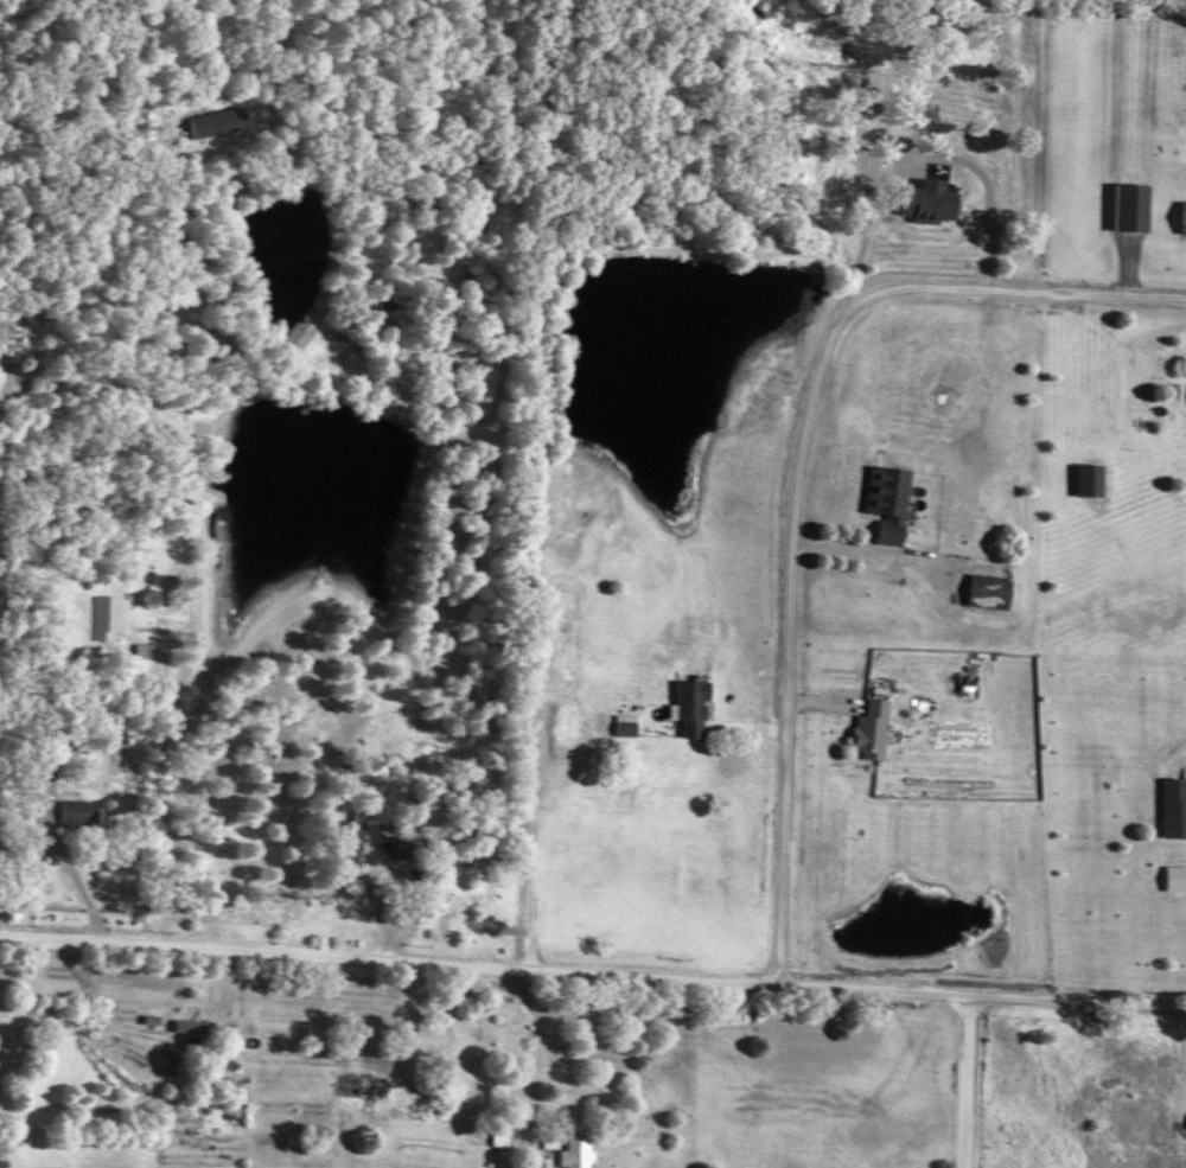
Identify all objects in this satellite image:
building: (1181, 83)
building: (213, 122)
building: (925, 202)
building: (1129, 206)
road: (799, 471)
building: (881, 502)
building: (983, 591)
building: (104, 617)
building: (683, 707)
building: (866, 728)
building: (1173, 808)
building: (71, 812)
building: (344, 841)
road: (592, 977)
road: (420, 1023)
road: (540, 1054)
building: (165, 1068)
building: (351, 1085)
road: (973, 1085)
road: (524, 1138)
building: (572, 1153)

